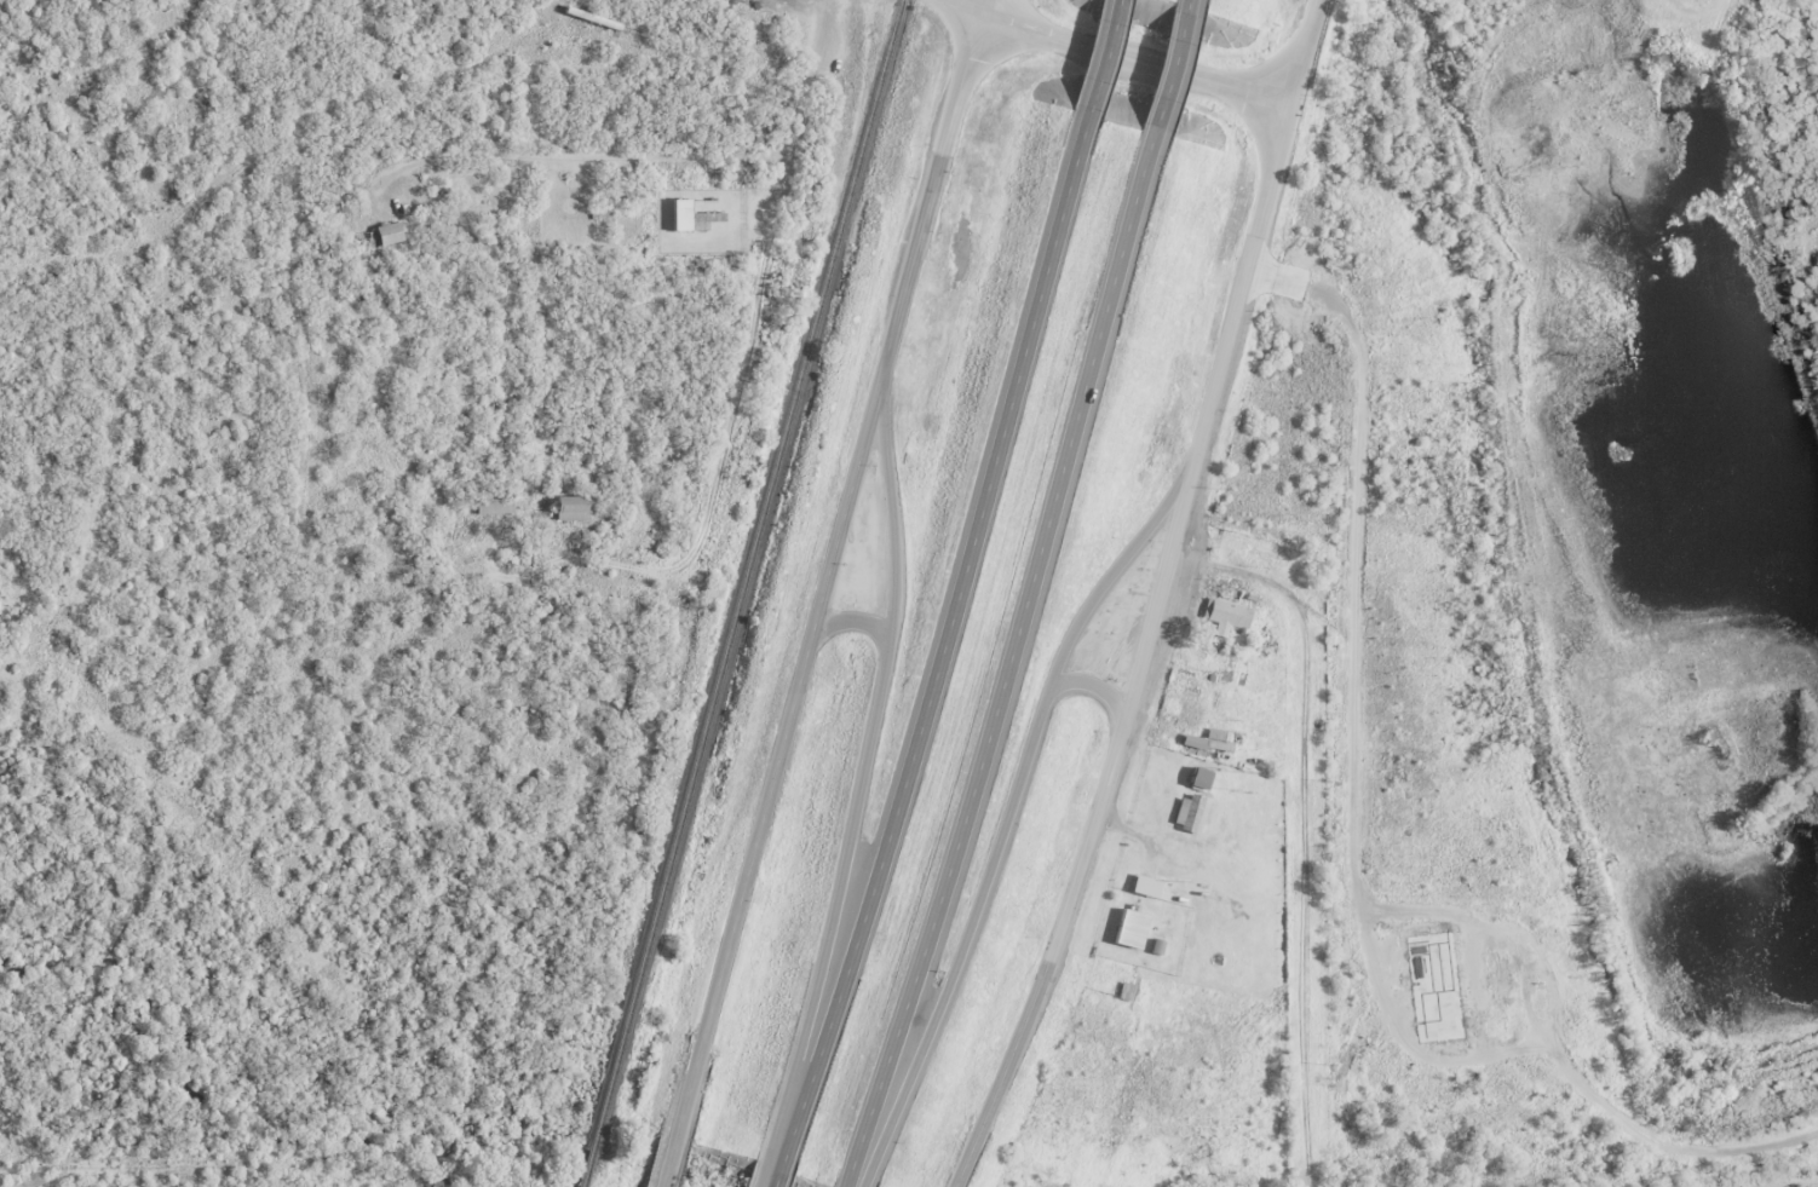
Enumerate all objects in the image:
road: (1187, 2)
road: (1104, 54)
road: (1123, 56)
road: (1169, 68)
road: (933, 179)
building: (679, 214)
road: (1253, 230)
building: (386, 232)
road: (760, 275)
building: (491, 505)
building: (566, 506)
road: (1114, 570)
railway: (738, 593)
building: (1226, 616)
road: (852, 623)
road: (945, 640)
road: (1008, 662)
road: (1092, 685)
building: (1206, 741)
road: (778, 749)
road: (864, 766)
building: (1196, 777)
building: (1186, 811)
road: (1301, 826)
road: (1088, 830)
building: (1146, 886)
building: (1127, 928)
road: (963, 939)
building: (1357, 993)
building: (1446, 1019)
road: (668, 1163)
road: (761, 1175)
road: (776, 1176)

